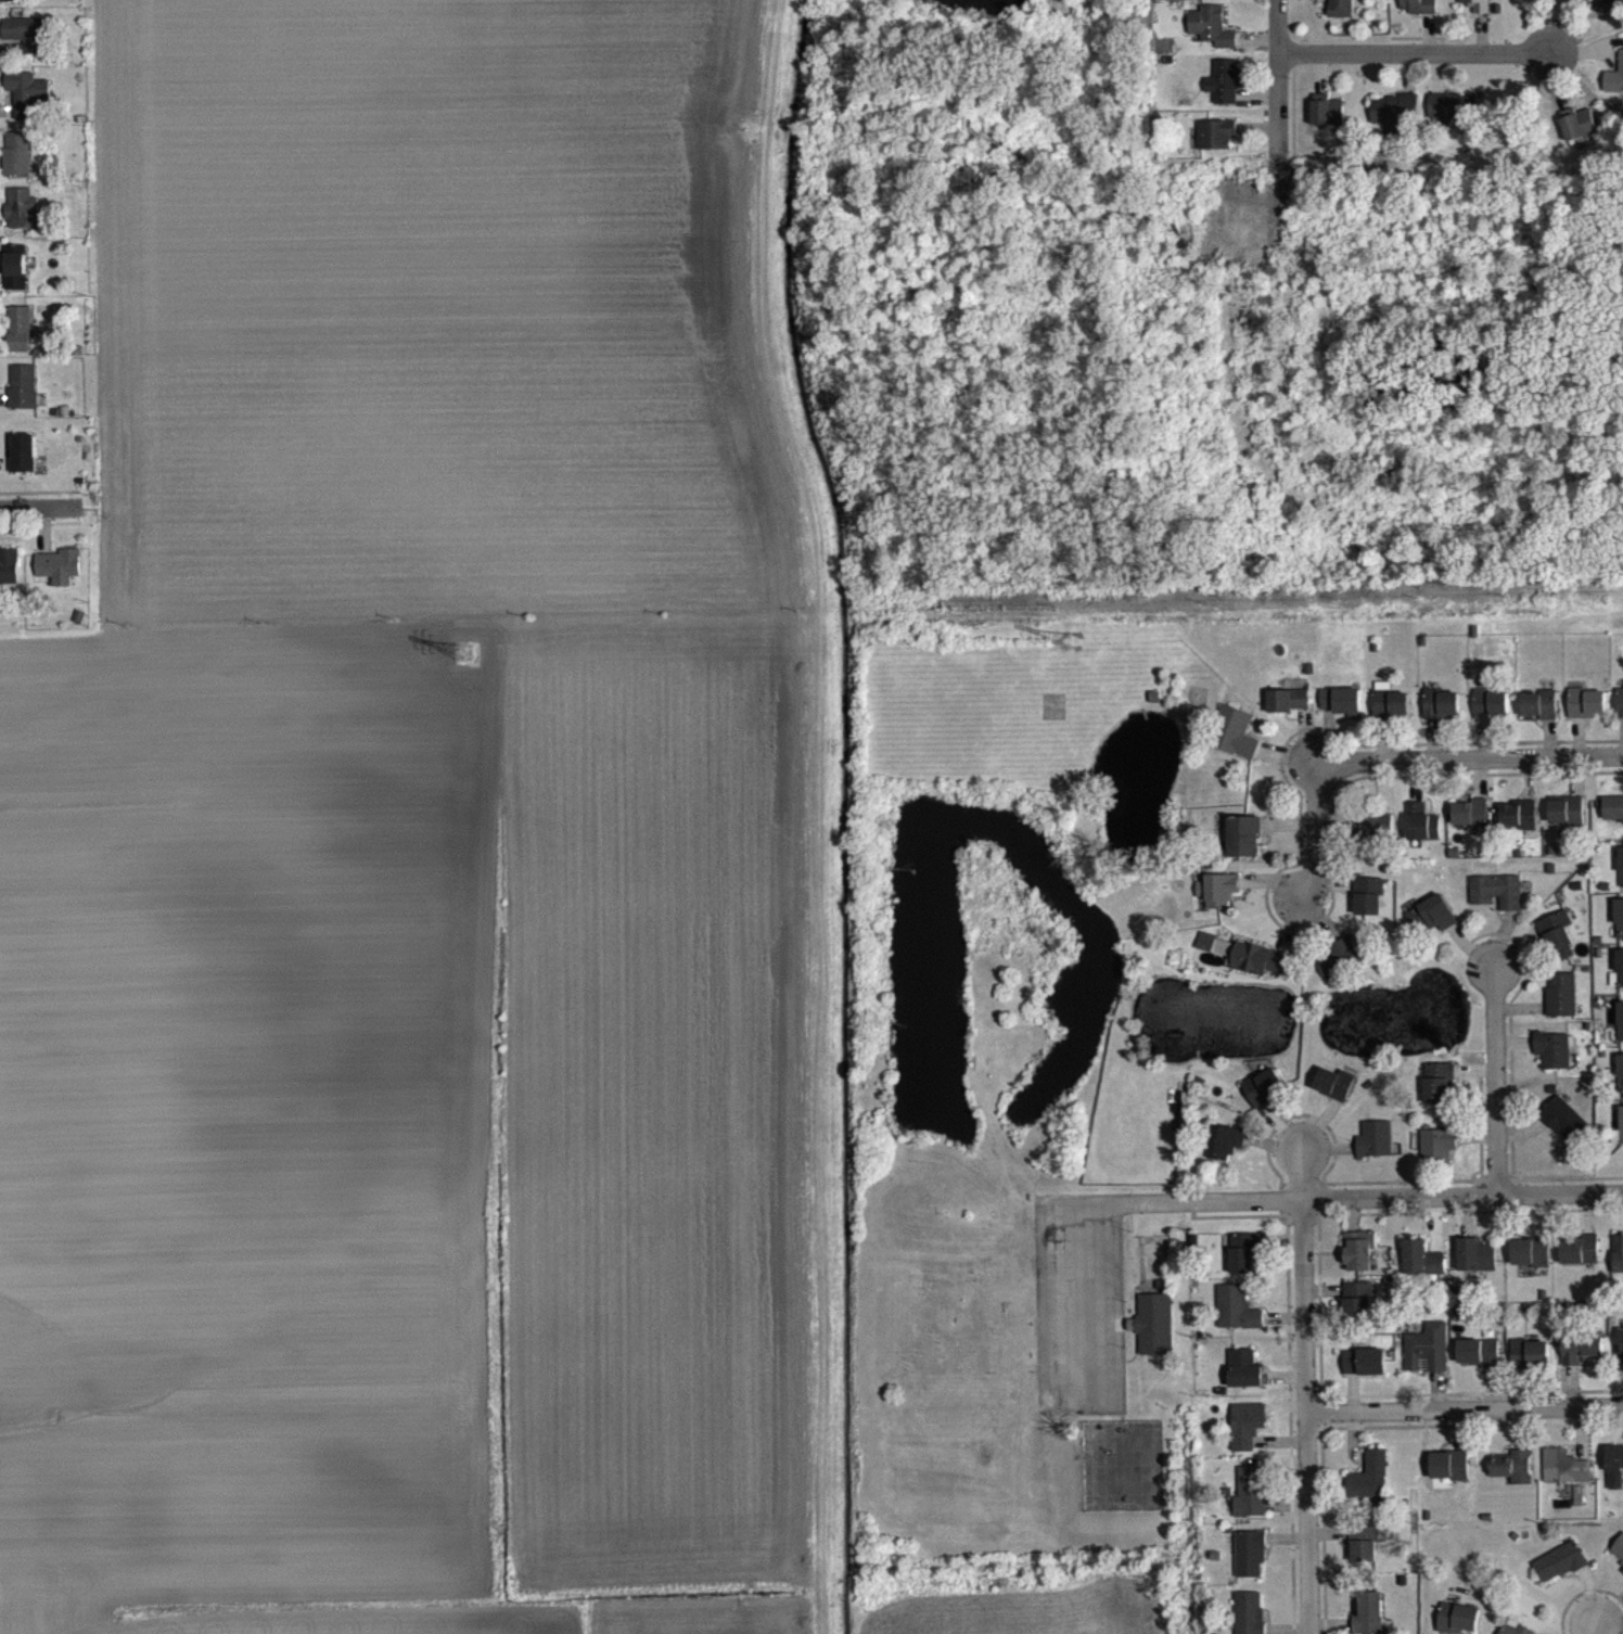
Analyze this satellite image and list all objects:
building: (1222, 0)
building: (16, 7)
building: (1473, 10)
building: (1339, 13)
building: (1418, 13)
building: (1212, 37)
building: (29, 44)
road: (1420, 51)
road: (1279, 66)
building: (1614, 88)
building: (1225, 92)
building: (28, 104)
building: (1394, 120)
building: (1456, 120)
building: (1328, 122)
building: (1577, 135)
building: (1216, 145)
building: (17, 165)
building: (22, 219)
building: (16, 278)
building: (20, 340)
building: (23, 398)
building: (23, 464)
road: (33, 519)
building: (9, 577)
building: (60, 577)
power tower: (1064, 639)
power tower: (467, 652)
building: (1289, 712)
building: (1343, 713)
building: (1586, 714)
building: (1620, 714)
building: (1391, 715)
building: (1491, 715)
building: (1442, 716)
building: (1539, 716)
building: (1236, 744)
road: (1469, 757)
building: (1613, 819)
building: (1567, 821)
building: (1471, 825)
building: (1520, 827)
road: (1315, 830)
building: (1422, 833)
building: (1379, 837)
building: (1244, 847)
building: (1621, 878)
building: (1219, 901)
building: (1497, 903)
building: (1369, 907)
building: (1433, 925)
building: (1620, 930)
building: (1558, 946)
building: (1216, 956)
building: (1262, 969)
building: (1339, 969)
building: (1620, 981)
building: (1562, 1006)
building: (1621, 1032)
building: (1554, 1061)
road: (1495, 1080)
building: (1621, 1084)
building: (1334, 1095)
building: (1439, 1095)
building: (1265, 1098)
building: (1564, 1129)
building: (1619, 1142)
building: (1376, 1151)
building: (1225, 1153)
building: (1437, 1157)
road: (1347, 1196)
building: (1580, 1261)
building: (1359, 1262)
building: (1244, 1263)
building: (1532, 1263)
building: (1618, 1264)
building: (1477, 1266)
building: (1422, 1269)
building: (1358, 1311)
building: (1237, 1319)
building: (1154, 1336)
building: (1621, 1352)
building: (1428, 1359)
building: (1583, 1361)
building: (1480, 1364)
building: (1531, 1365)
building: (1365, 1374)
building: (1245, 1380)
road: (1304, 1391)
road: (1464, 1408)
building: (1248, 1437)
building: (1449, 1477)
building: (1513, 1478)
building: (1566, 1478)
building: (1615, 1479)
building: (1370, 1488)
building: (1251, 1504)
building: (1365, 1554)
building: (1618, 1560)
building: (1250, 1563)
building: (1560, 1573)
building: (1249, 1619)
building: (1370, 1619)
building: (1459, 1624)
road: (1594, 1626)

